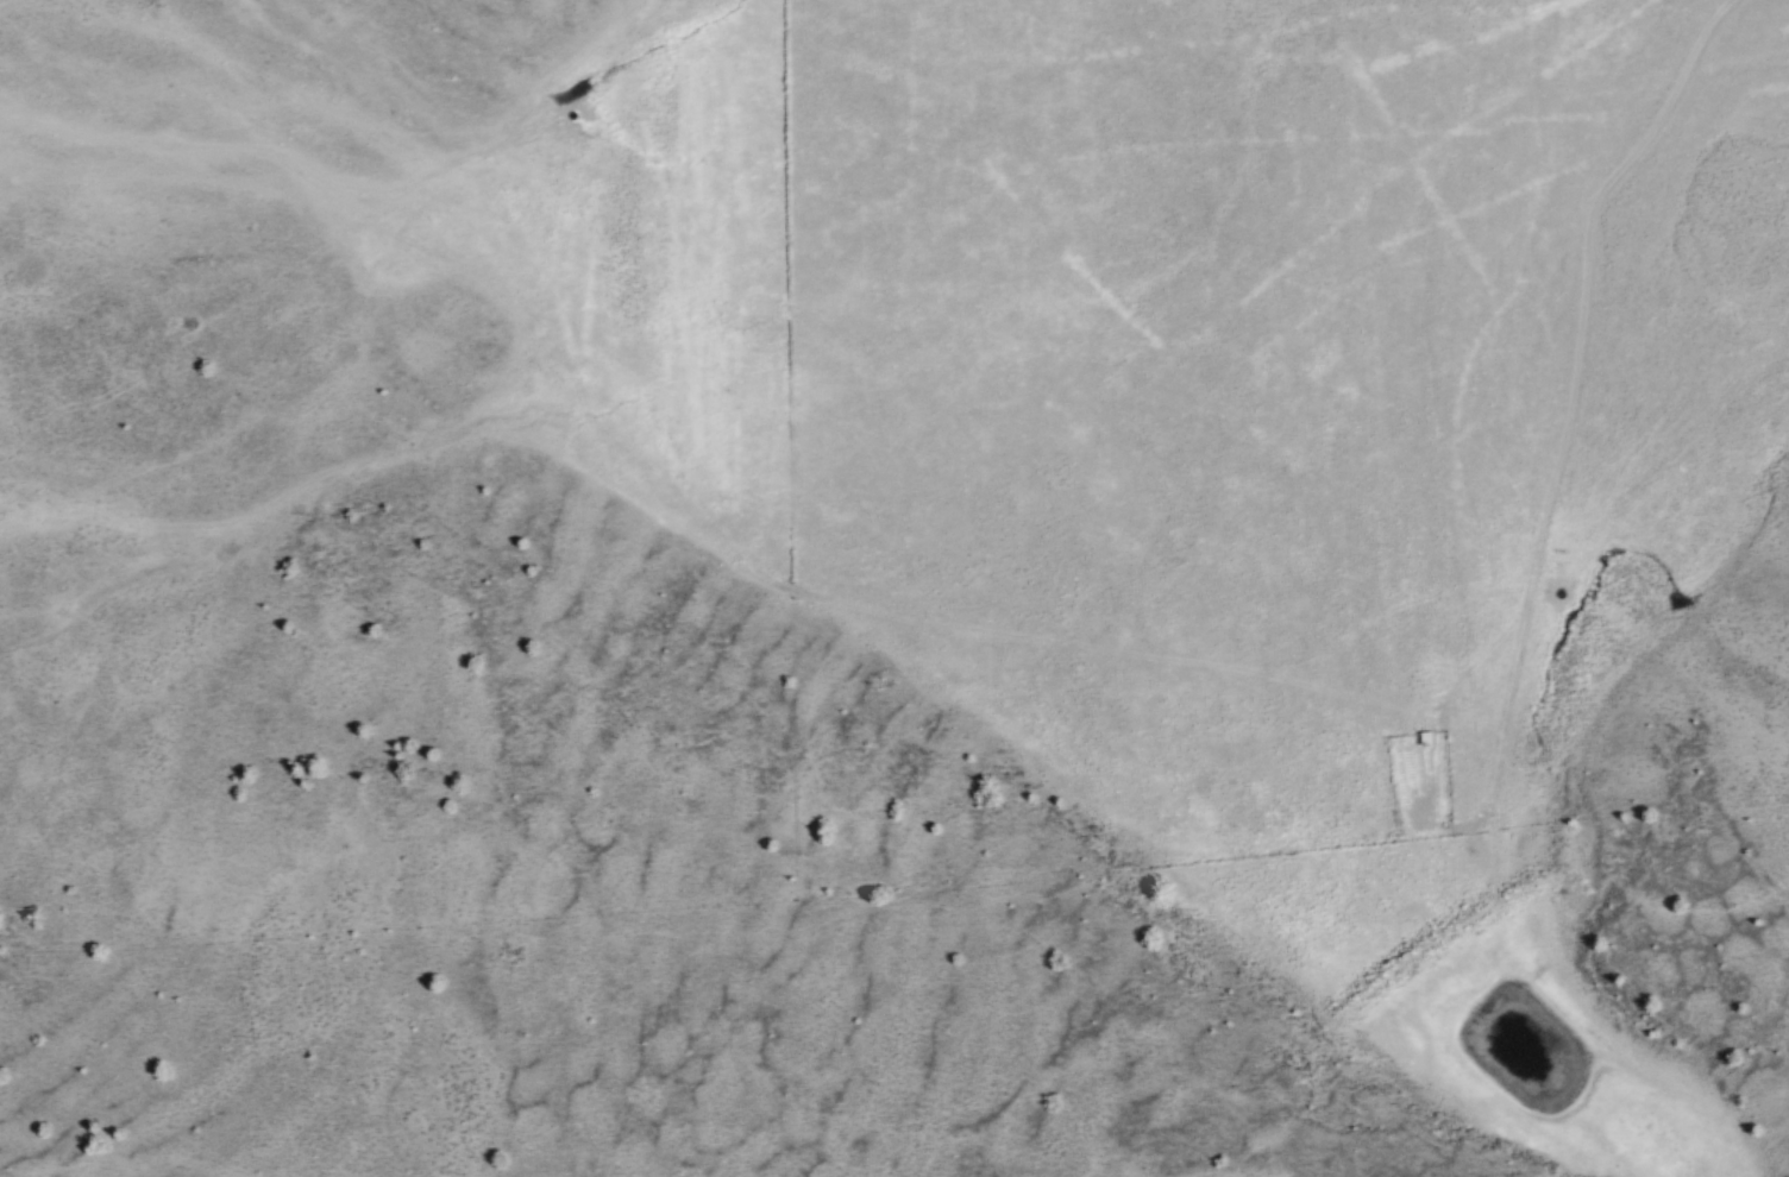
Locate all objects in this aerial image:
dam: (1435, 940)

